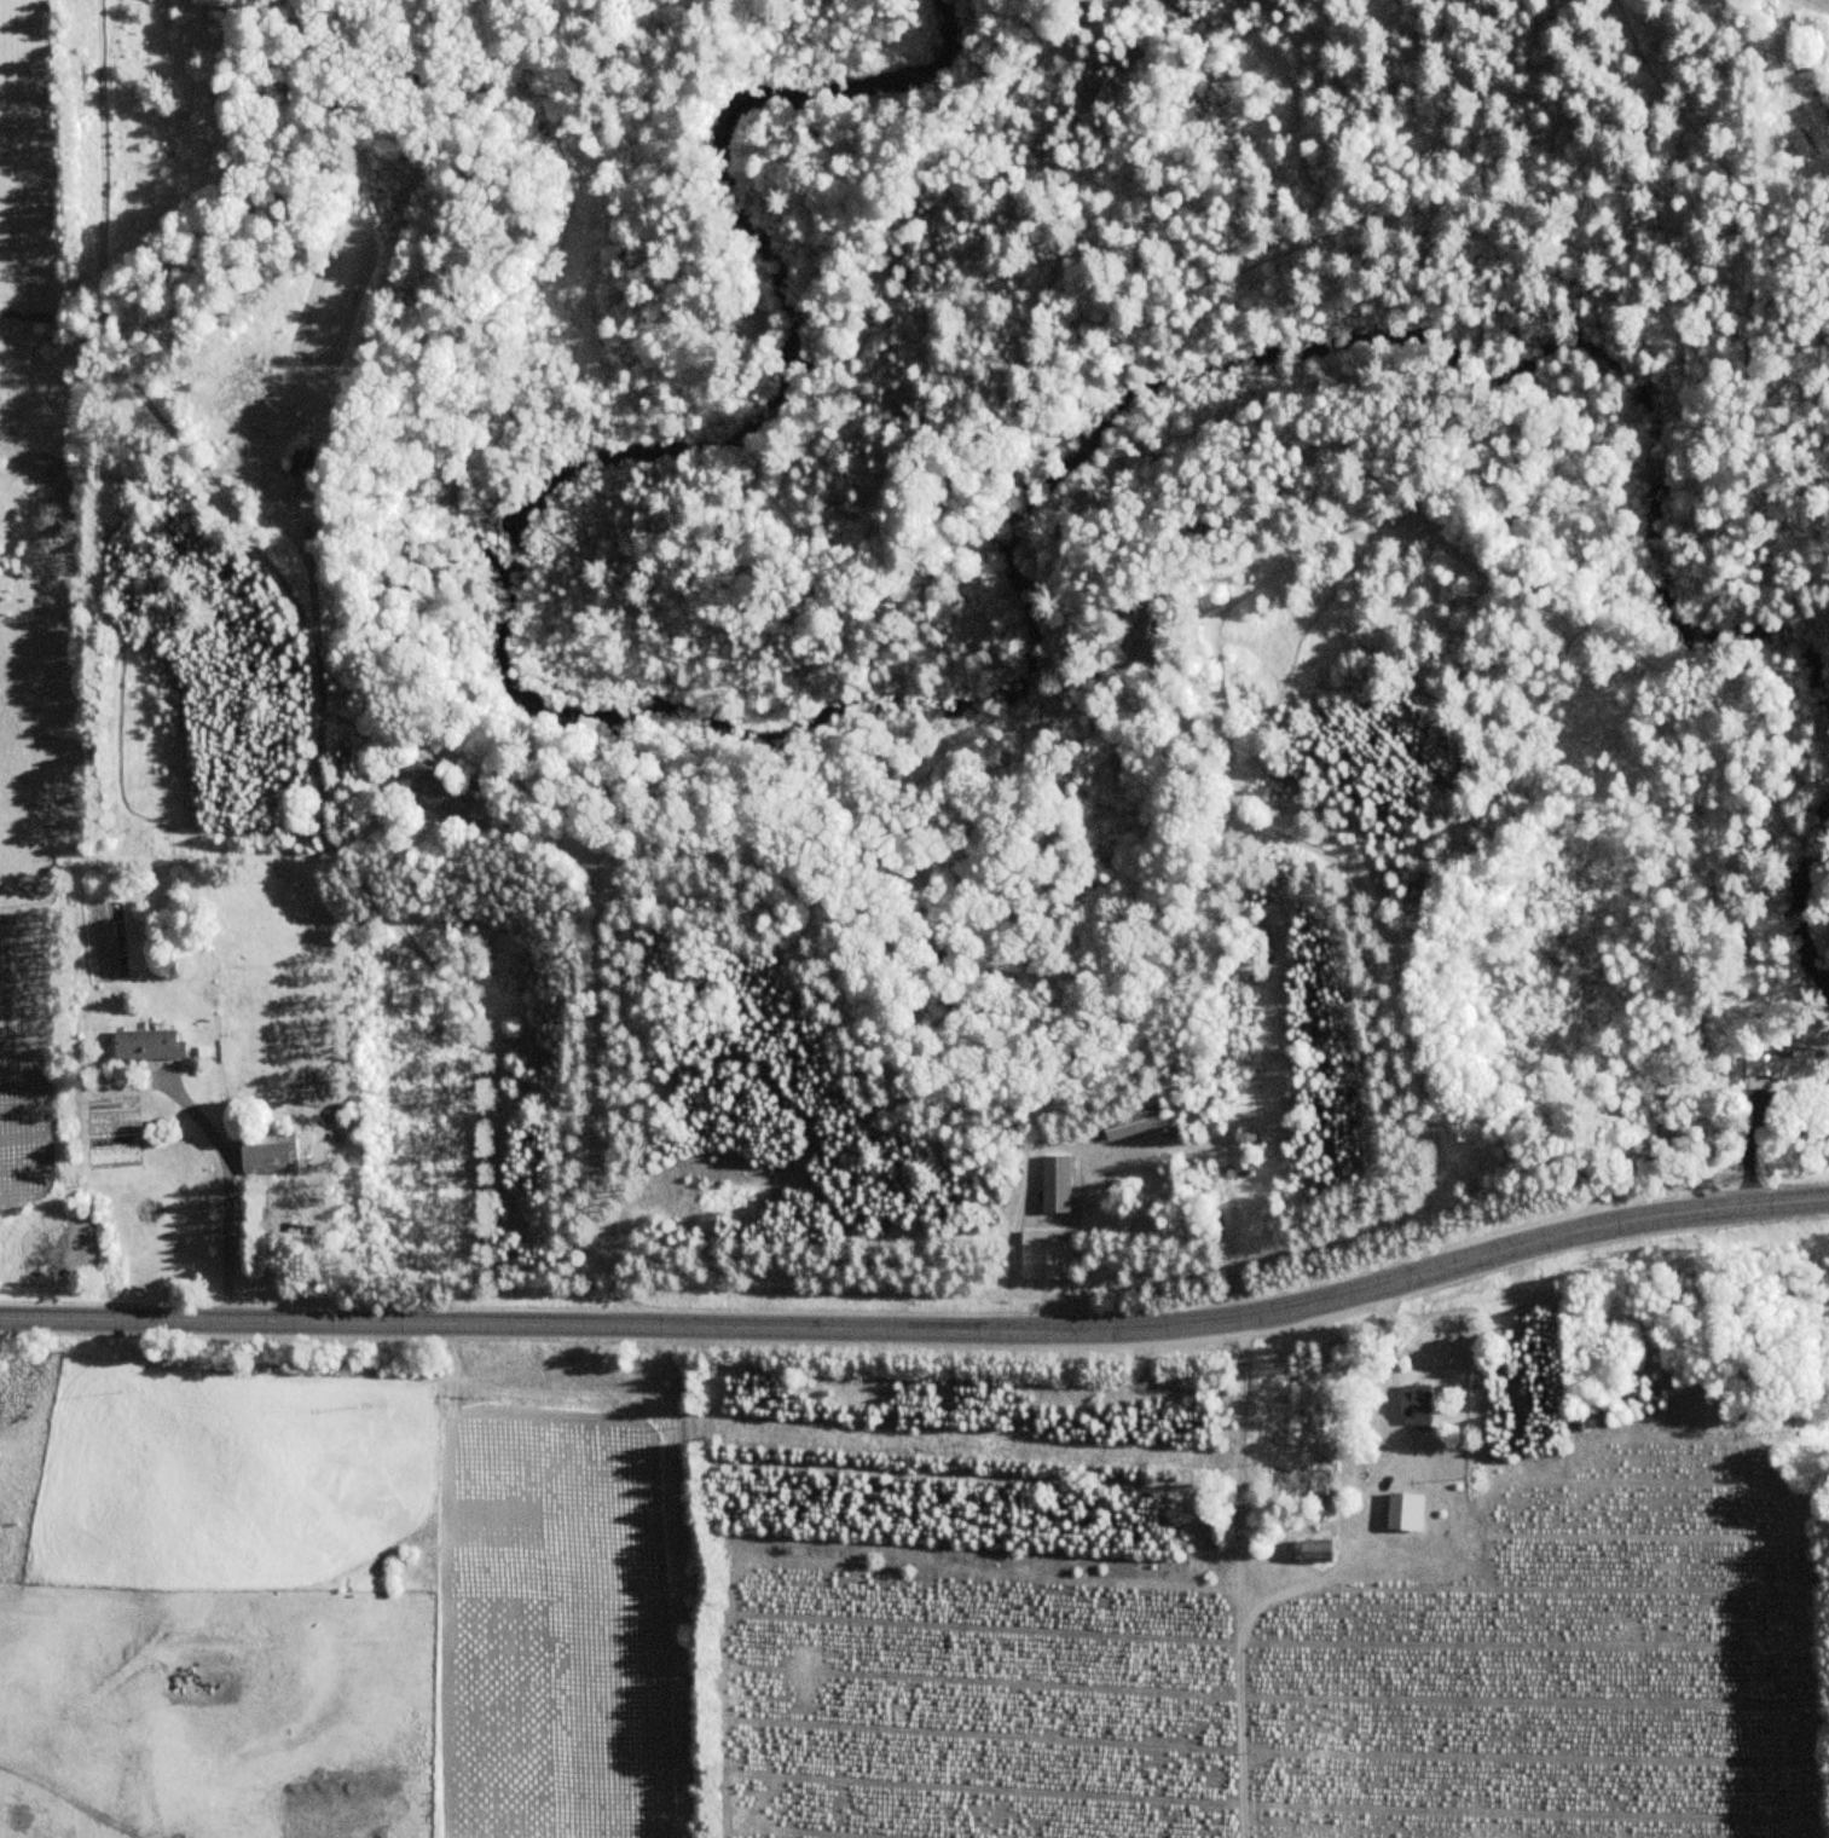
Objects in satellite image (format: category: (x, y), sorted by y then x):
building: (1138, 630)
river: (881, 707)
building: (432, 787)
river: (1807, 903)
road: (606, 1039)
building: (144, 1044)
building: (1777, 1065)
road: (1418, 1067)
building: (1130, 1123)
building: (268, 1151)
building: (1054, 1185)
building: (1044, 1255)
road: (921, 1328)
building: (1416, 1400)
building: (1298, 1486)
building: (1400, 1507)
building: (1310, 1551)

